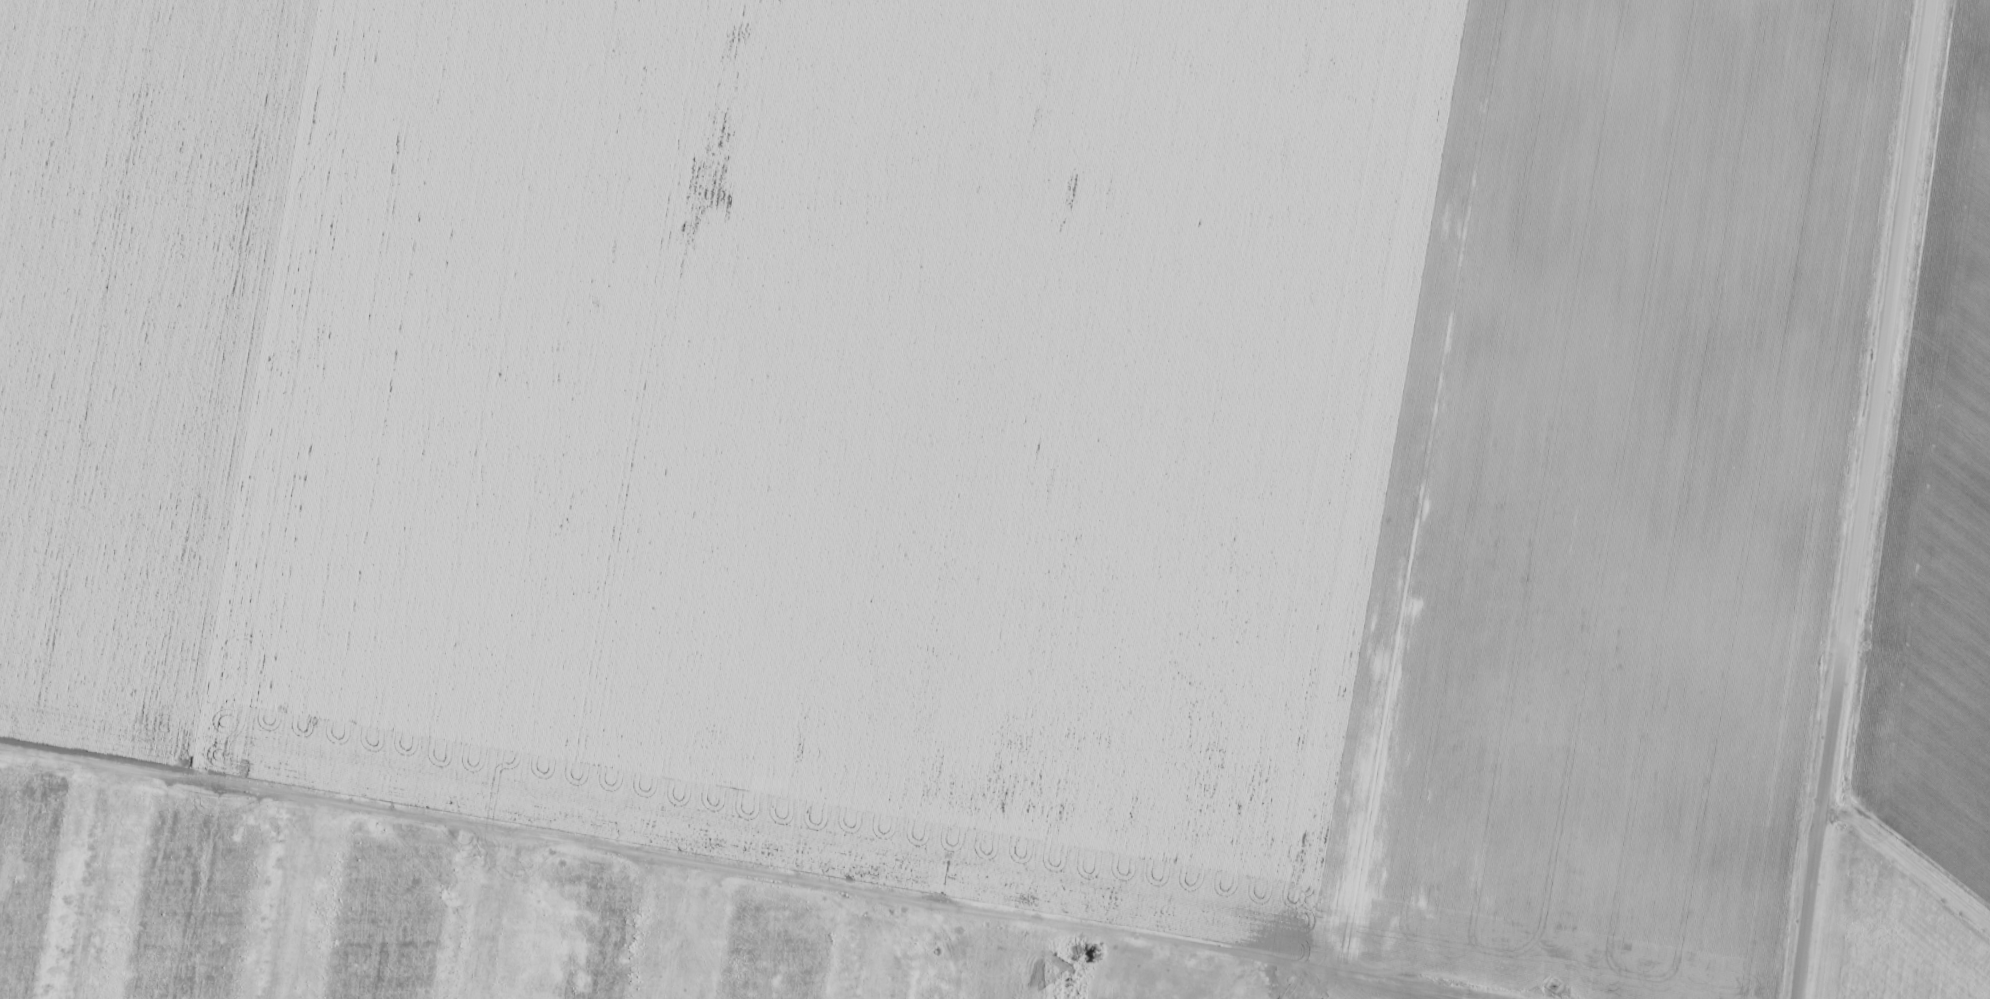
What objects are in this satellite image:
road: (1867, 499)

